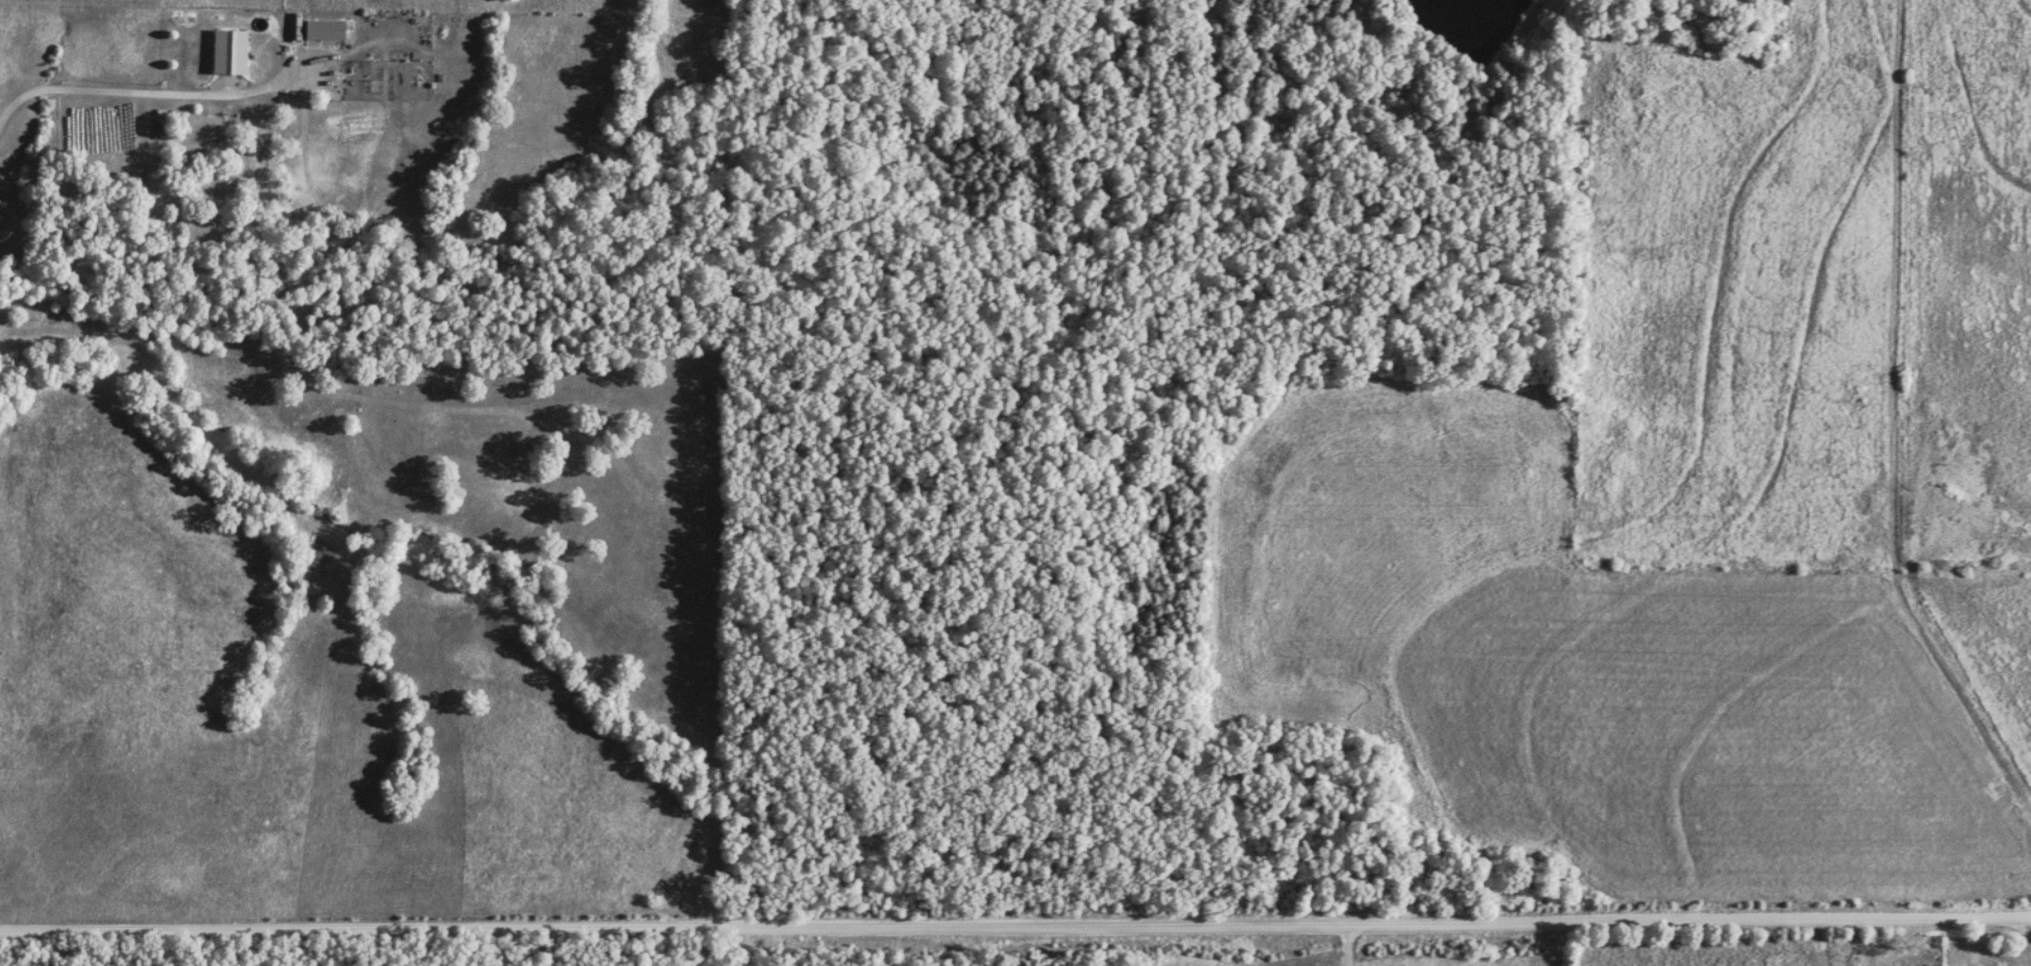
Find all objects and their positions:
building: (325, 29)
building: (231, 50)
road: (106, 85)
road: (1941, 665)
road: (2016, 921)
road: (1015, 926)

